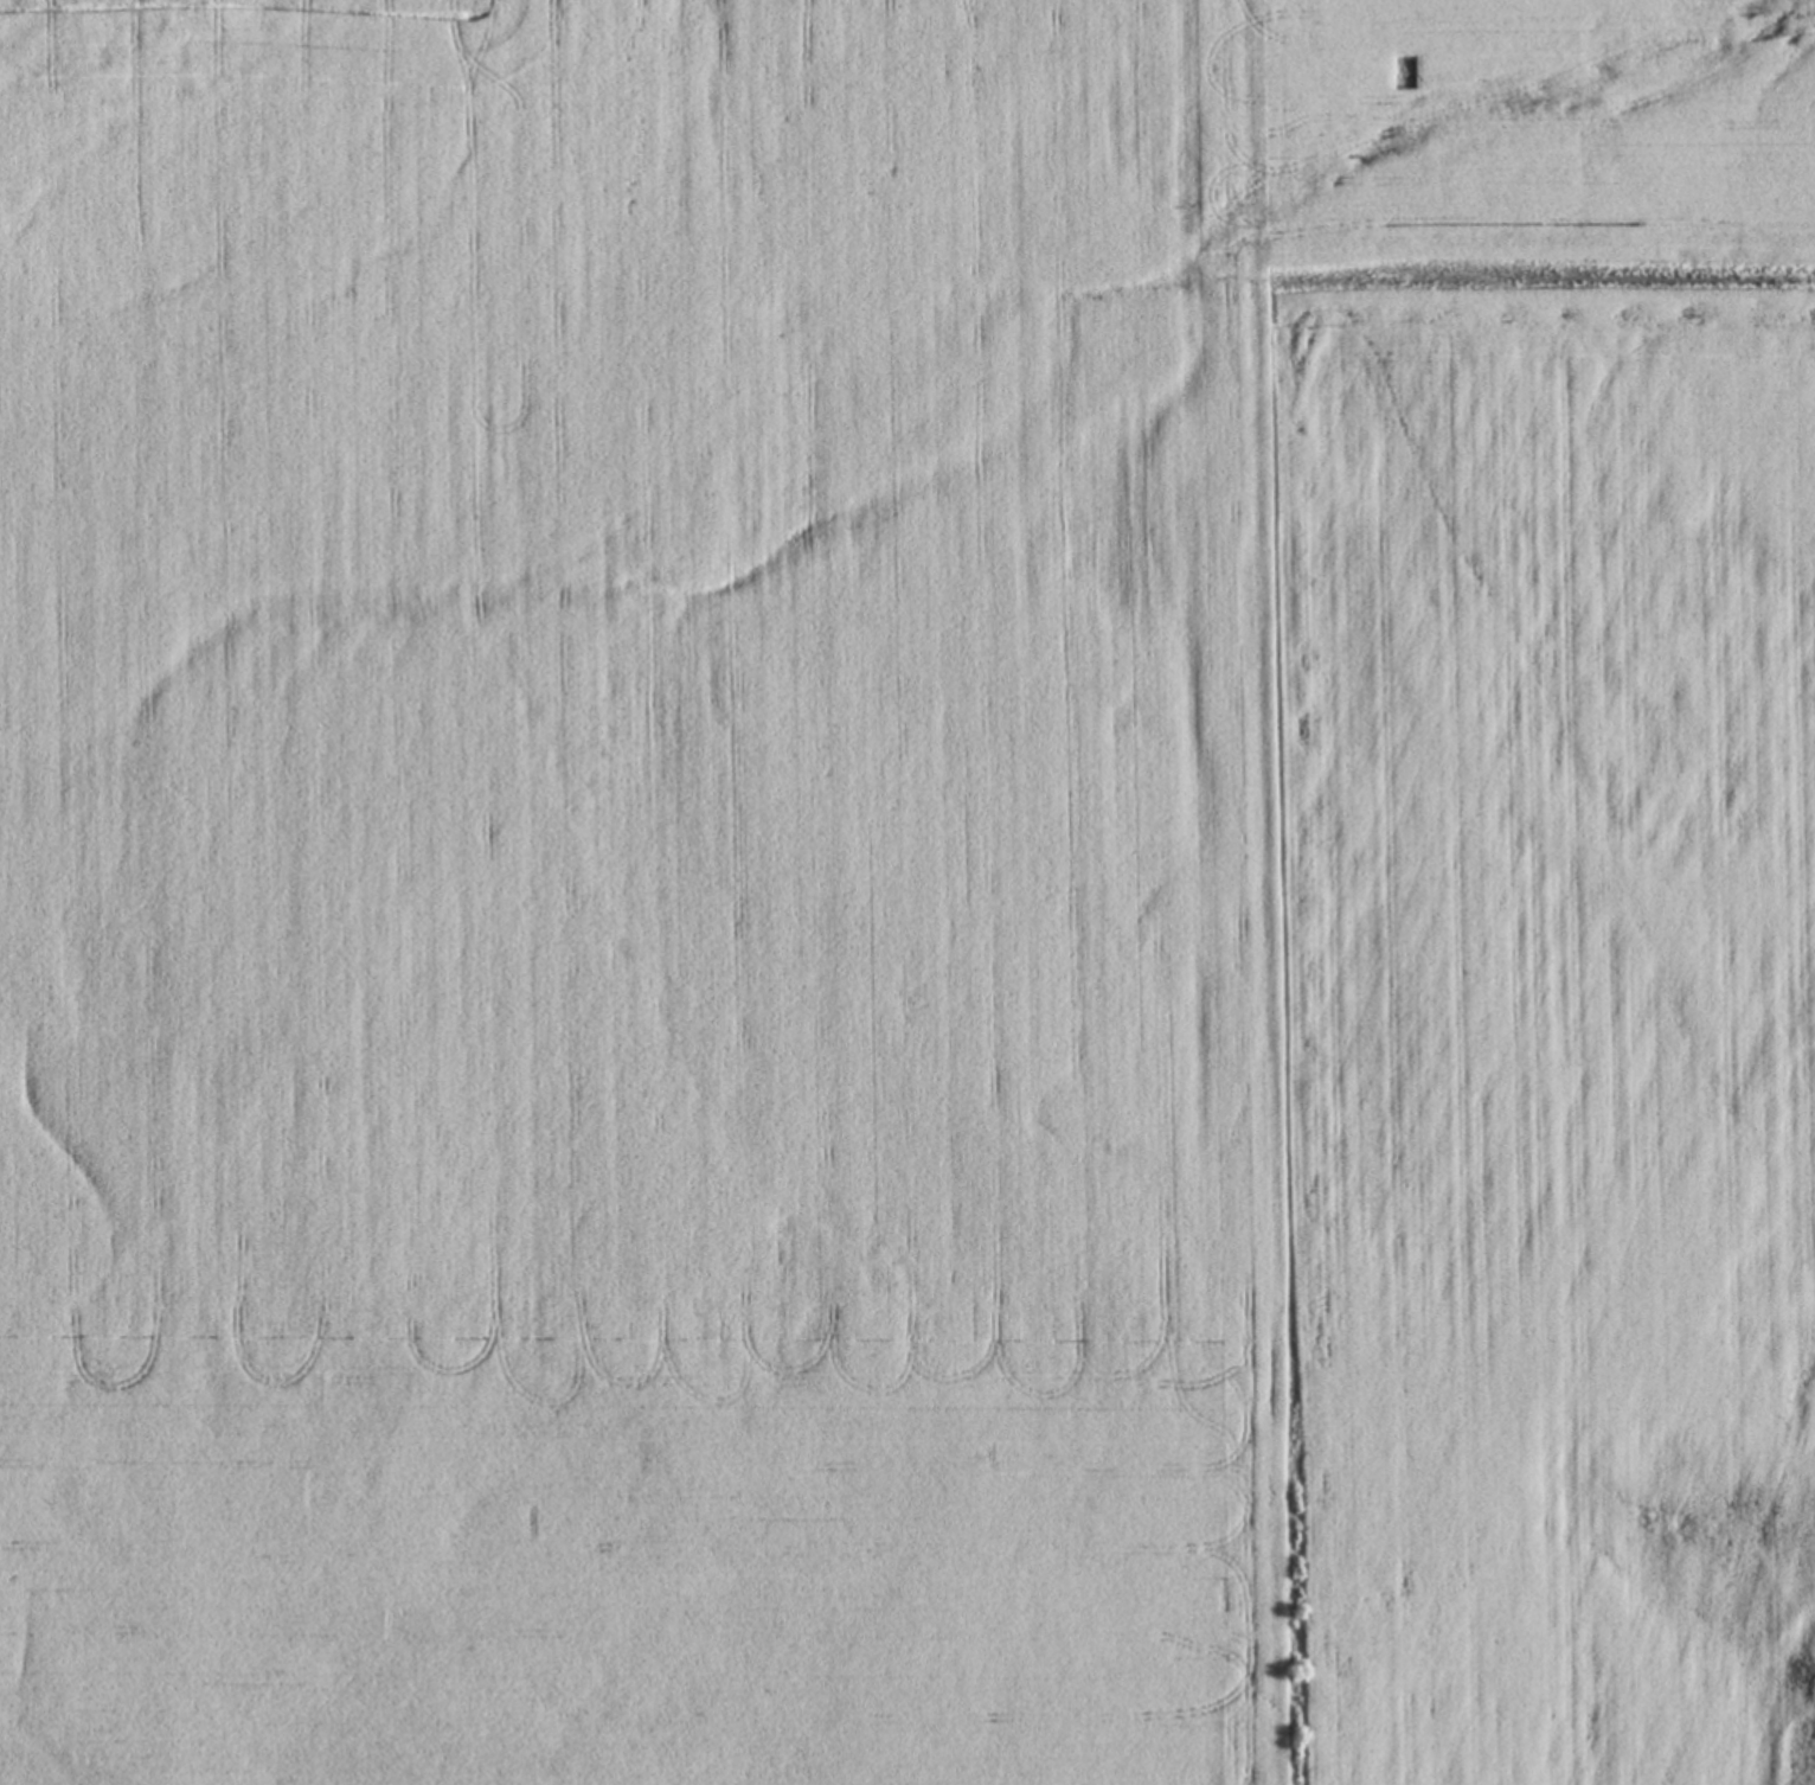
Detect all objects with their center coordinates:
quarry: (175, 13)

